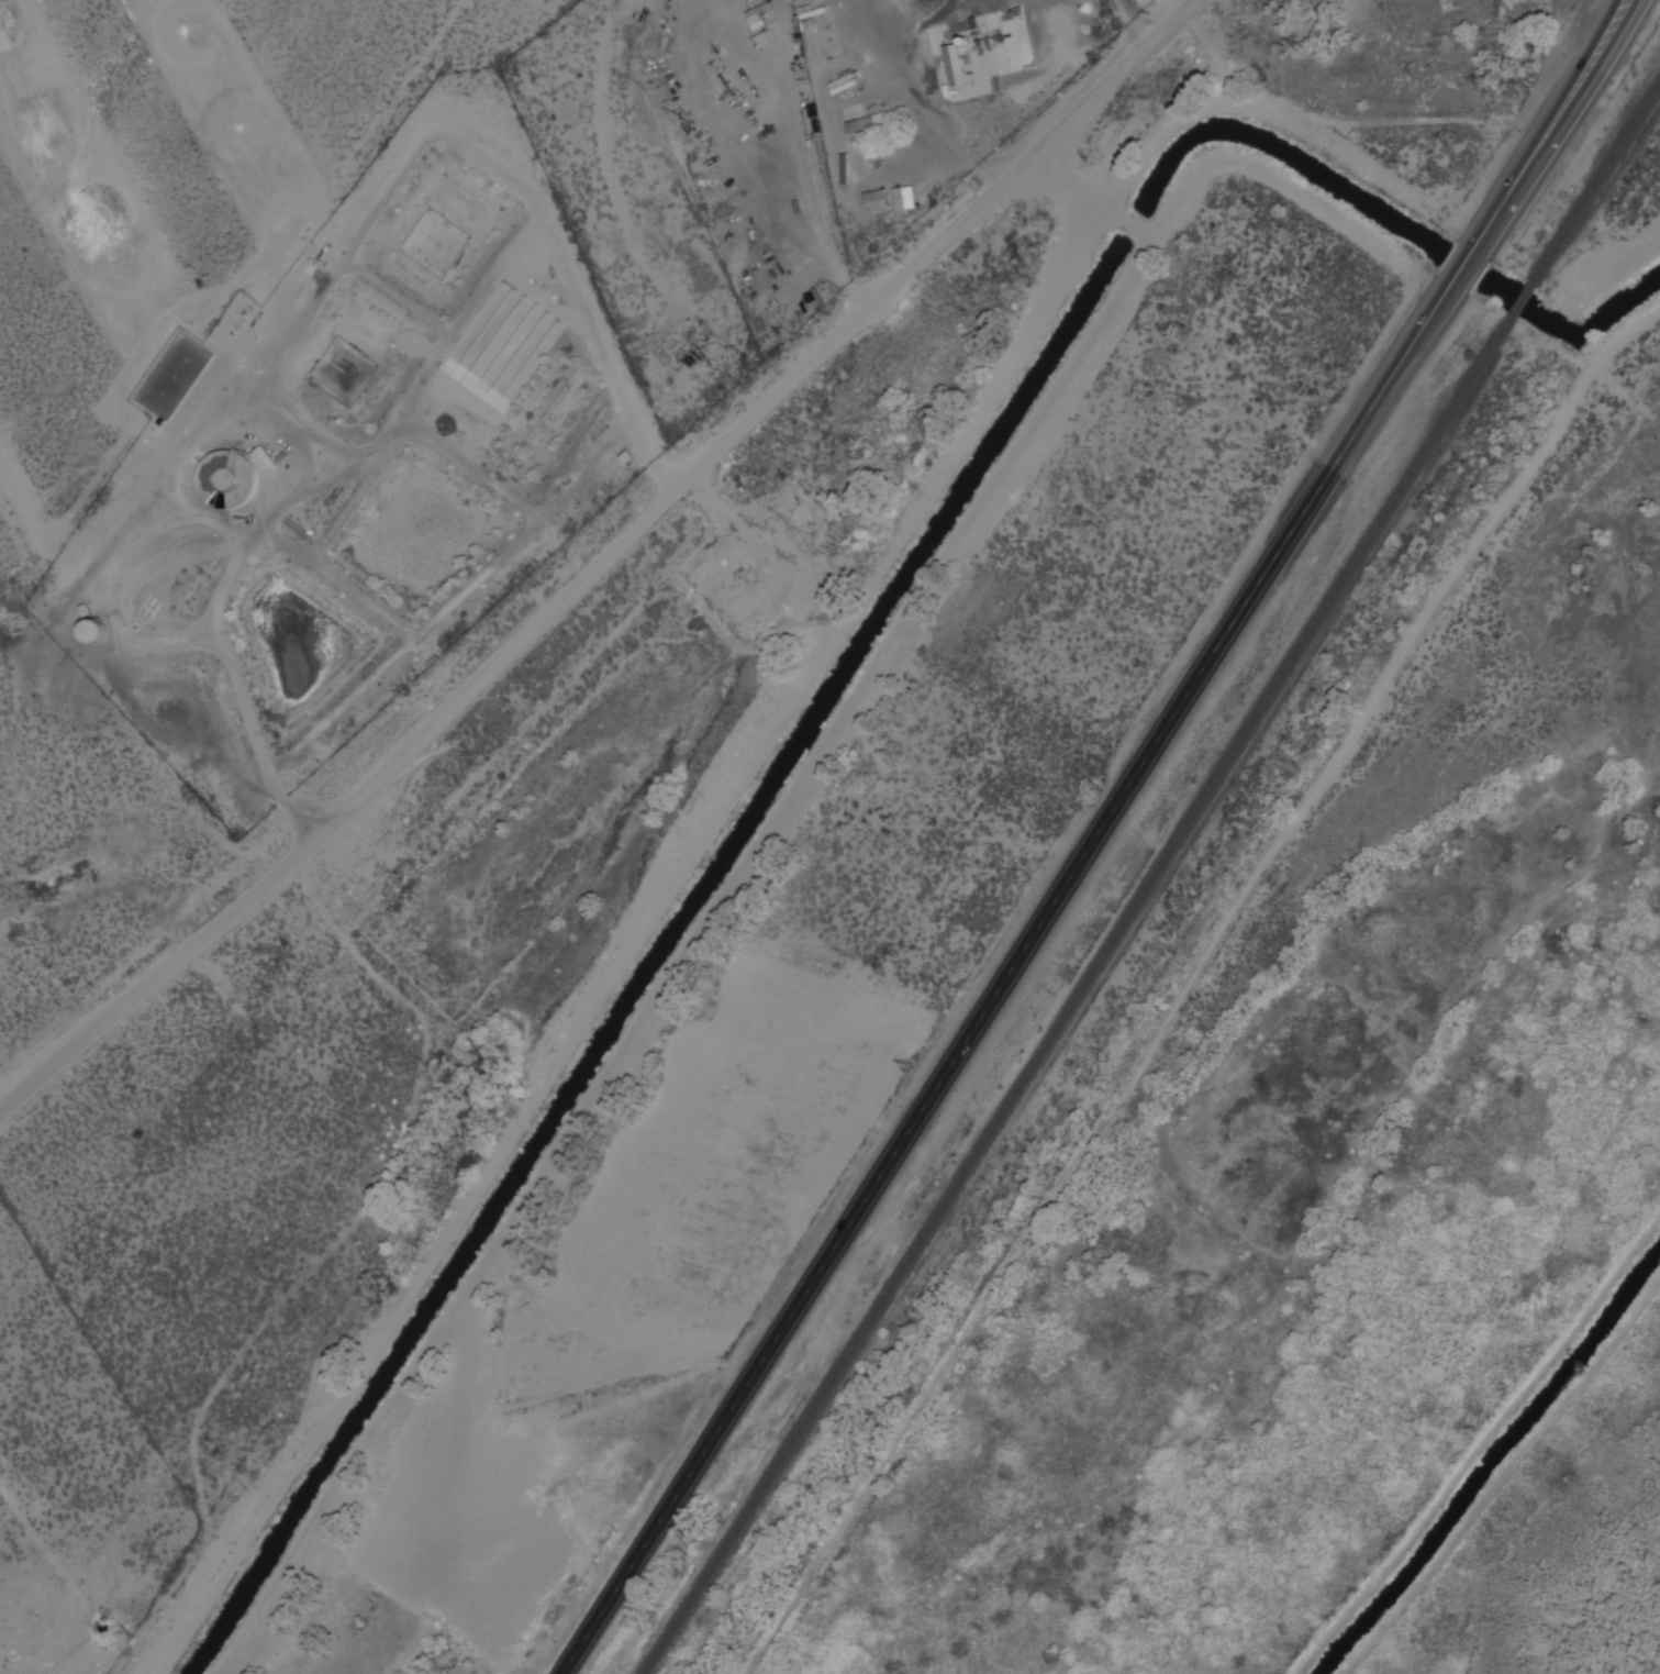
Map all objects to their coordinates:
building: (955, 64)
road: (1552, 109)
railway: (1596, 181)
building: (904, 198)
building: (876, 200)
road: (1455, 274)
railway: (1520, 299)
building: (264, 459)
building: (218, 474)
road: (593, 546)
building: (94, 631)
railway: (1074, 996)
road: (991, 1001)

